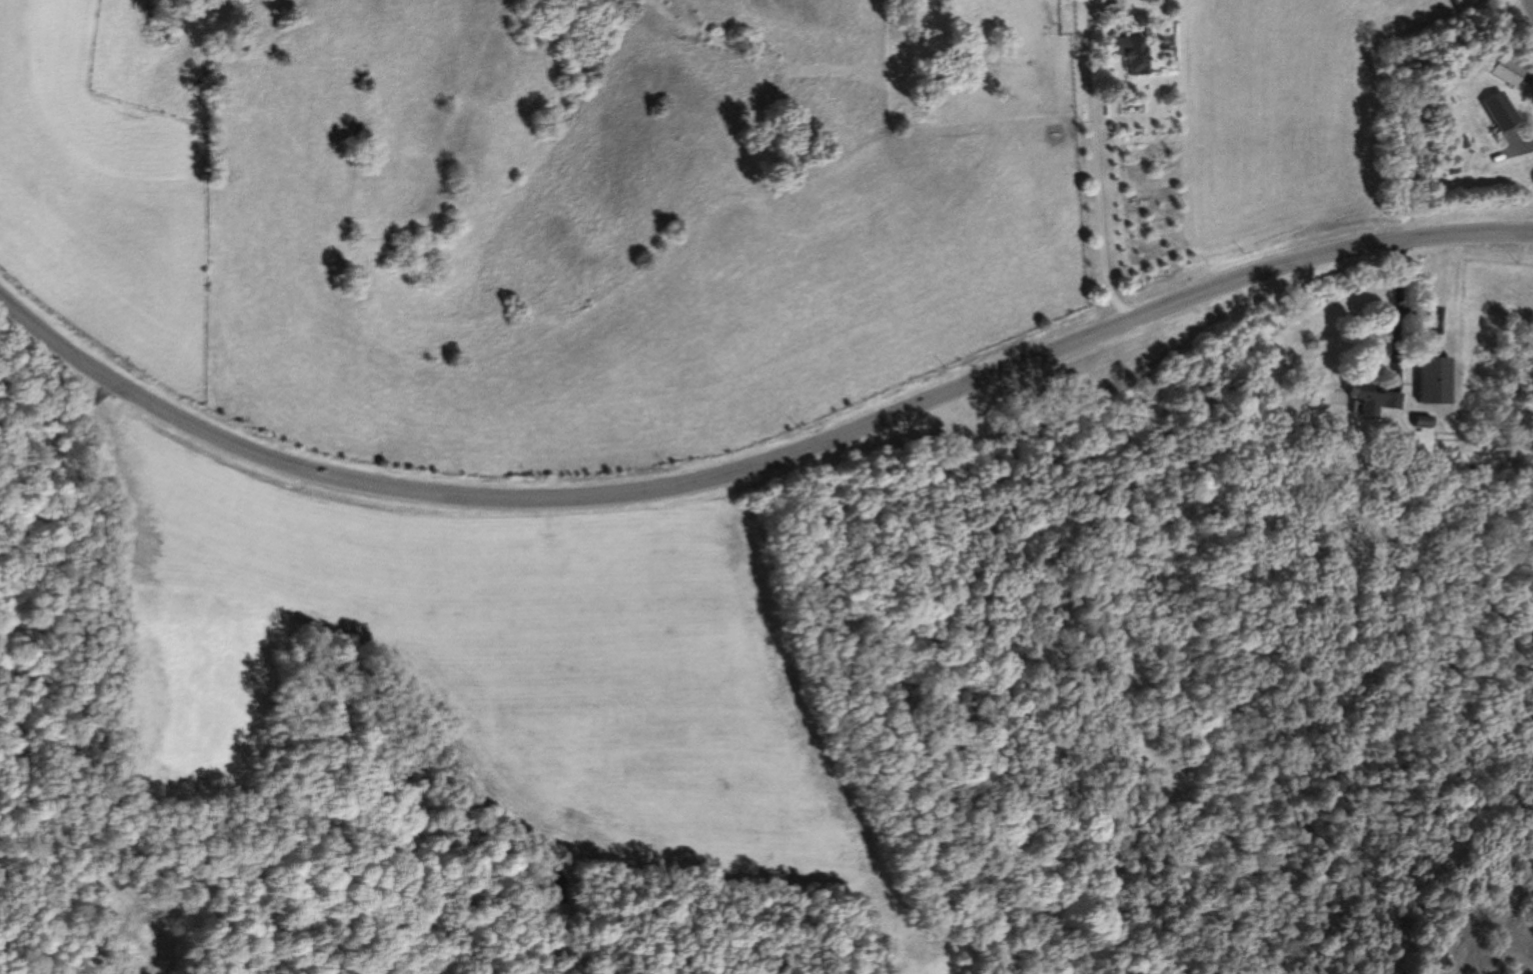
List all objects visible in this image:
building: (1135, 57)
building: (1497, 110)
road: (1100, 162)
building: (1429, 381)
building: (1372, 399)
building: (1418, 421)
road: (756, 464)

